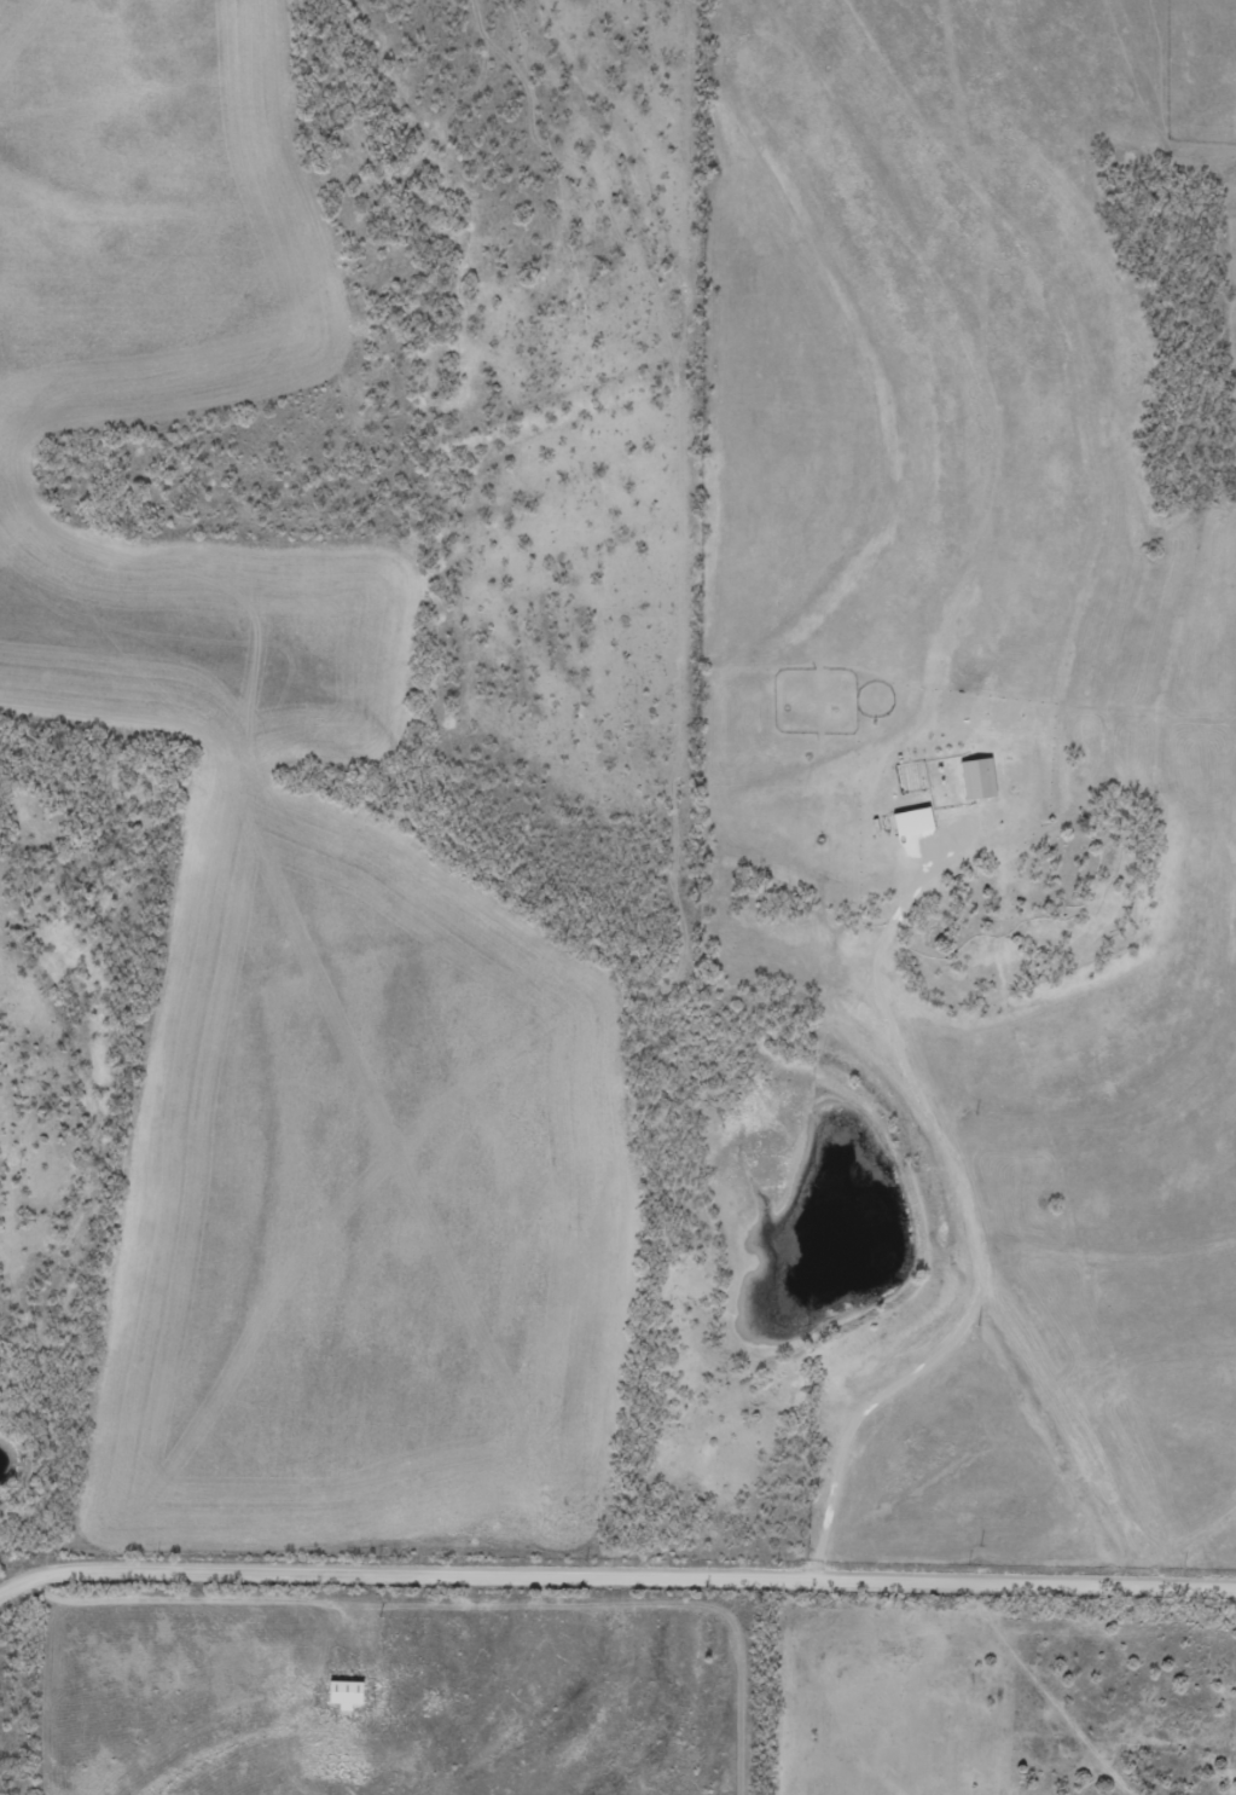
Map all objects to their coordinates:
road: (616, 1609)

